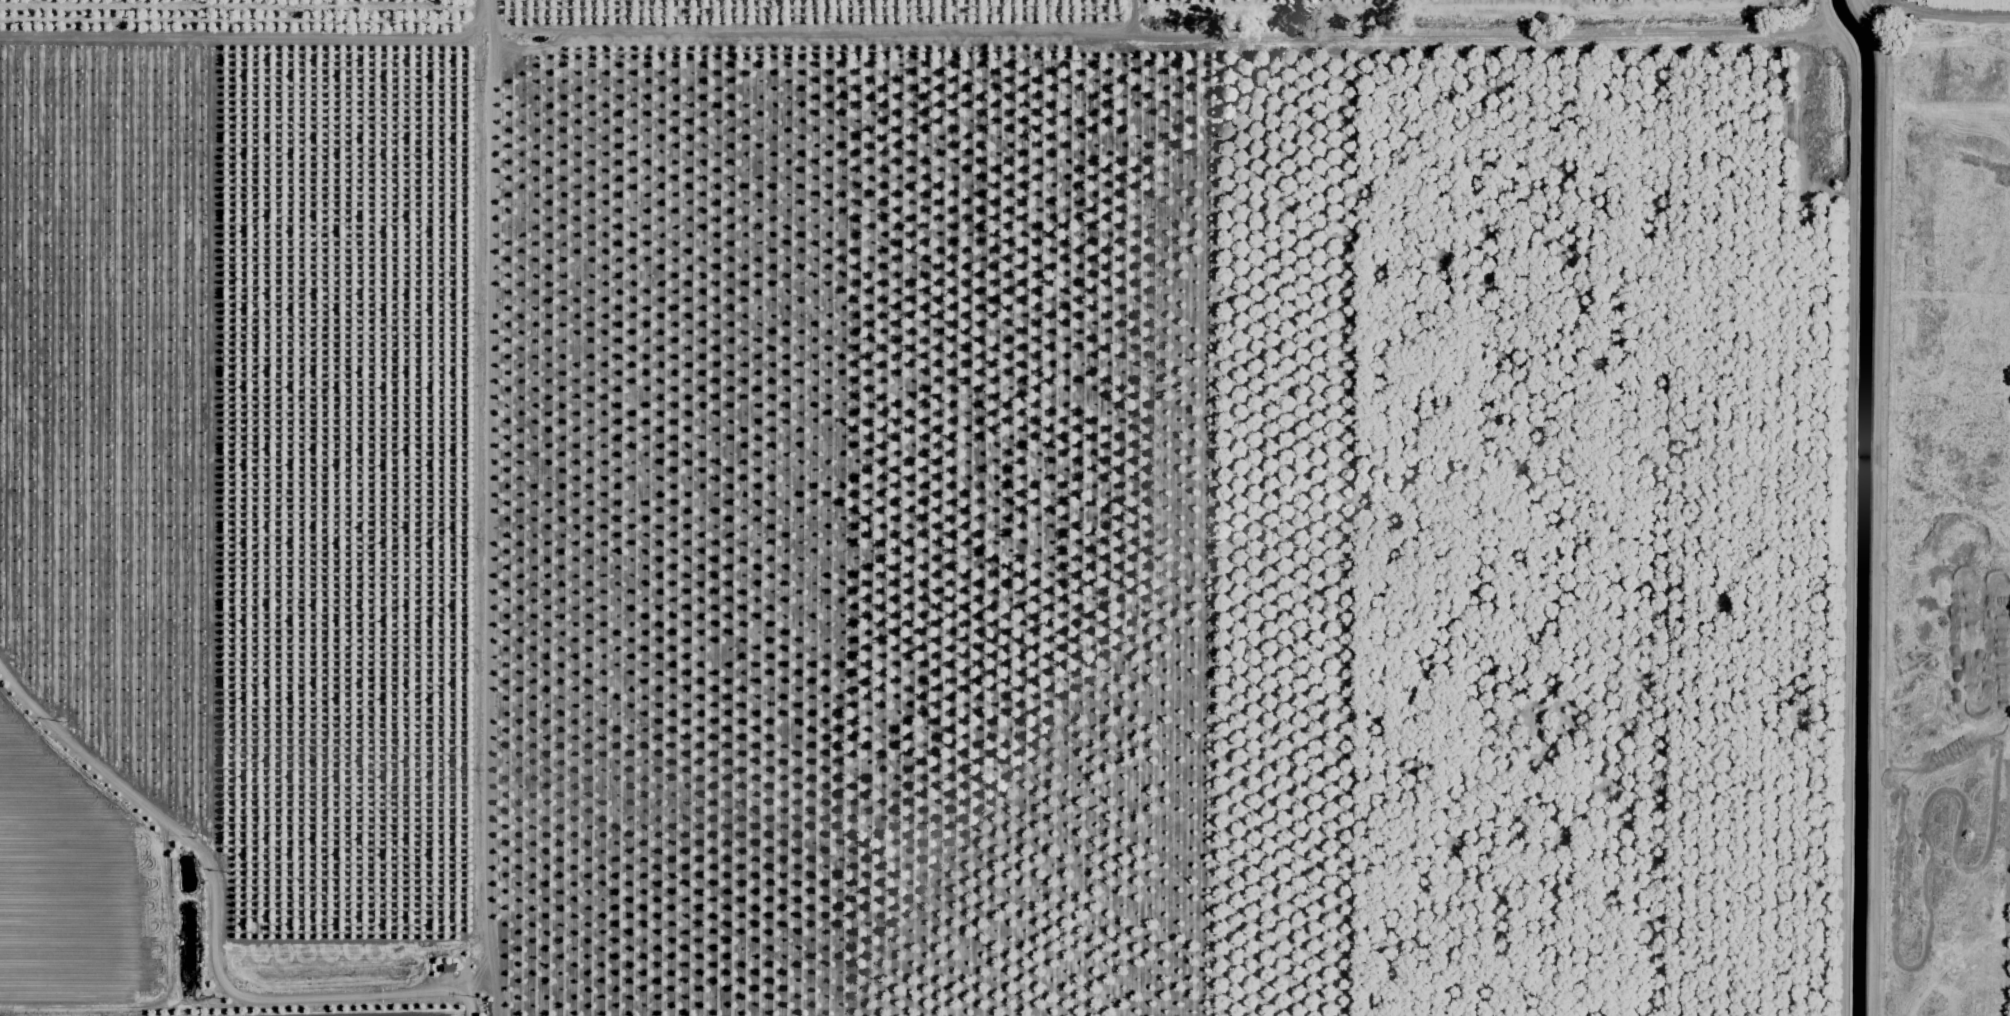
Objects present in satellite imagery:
road: (212, 915)
crop: (90, 916)

